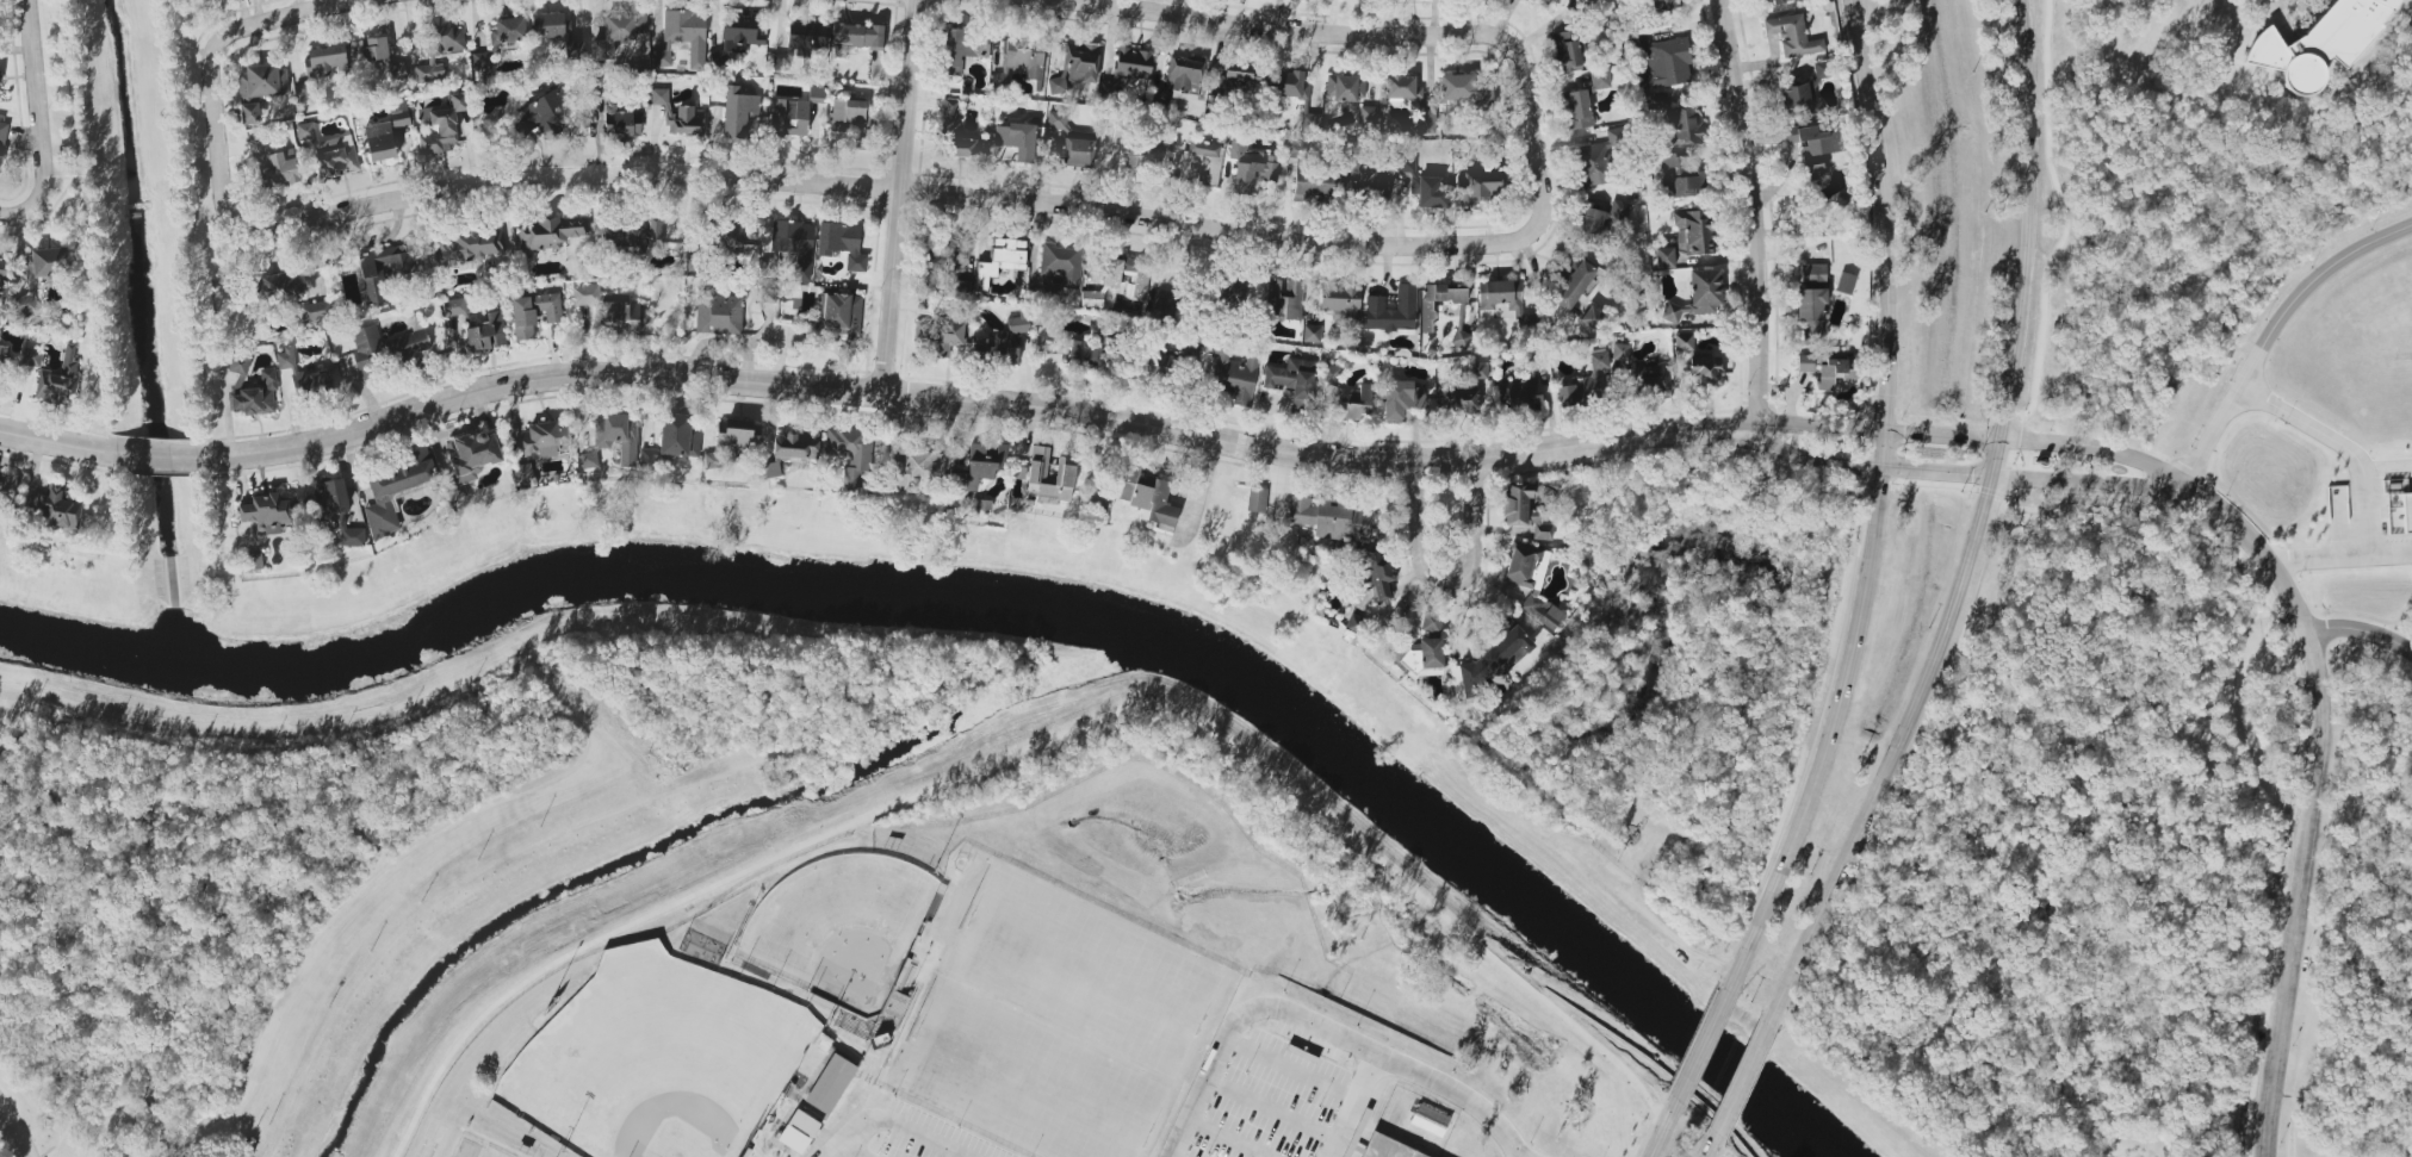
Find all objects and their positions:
building: (547, 25)
road: (1263, 25)
road: (238, 29)
building: (619, 32)
building: (736, 35)
building: (858, 36)
building: (1792, 36)
building: (683, 37)
building: (805, 38)
road: (190, 43)
building: (2320, 43)
building: (963, 48)
building: (370, 49)
building: (573, 49)
building: (439, 51)
building: (1565, 51)
building: (325, 60)
building: (1019, 60)
building: (482, 61)
building: (1661, 61)
building: (1134, 63)
road: (32, 66)
building: (1075, 68)
building: (1821, 69)
building: (397, 70)
building: (1178, 79)
building: (1600, 79)
building: (1242, 81)
road: (67, 85)
building: (1289, 85)
building: (1345, 87)
building: (1401, 87)
building: (260, 89)
building: (1468, 92)
building: (816, 94)
building: (1800, 94)
building: (659, 97)
building: (1577, 108)
building: (738, 111)
building: (541, 113)
building: (399, 114)
building: (949, 114)
building: (1368, 114)
building: (850, 117)
building: (787, 118)
building: (1056, 120)
building: (1426, 120)
building: (686, 122)
building: (1310, 122)
building: (620, 123)
building: (1685, 125)
building: (441, 126)
building: (304, 131)
building: (1017, 139)
building: (379, 142)
building: (957, 147)
building: (1812, 148)
building: (1297, 150)
building: (1078, 151)
building: (1143, 157)
building: (337, 161)
building: (1202, 163)
building: (1595, 163)
building: (273, 164)
building: (1251, 167)
building: (1681, 176)
building: (1371, 180)
road: (57, 183)
building: (1312, 183)
building: (1422, 183)
road: (39, 187)
building: (1477, 187)
road: (900, 195)
road: (950, 195)
road: (1286, 200)
road: (1755, 214)
road: (2026, 219)
building: (1589, 225)
road: (184, 229)
building: (548, 232)
building: (635, 237)
building: (1687, 237)
building: (694, 242)
building: (842, 243)
building: (794, 244)
building: (471, 245)
building: (1002, 259)
building: (771, 265)
building: (943, 266)
building: (2, 269)
building: (39, 274)
building: (1111, 278)
building: (1573, 281)
building: (1844, 284)
building: (280, 287)
building: (1233, 288)
building: (374, 291)
building: (1811, 292)
building: (1698, 296)
building: (1282, 298)
building: (1091, 299)
building: (1339, 299)
building: (1437, 301)
building: (1166, 303)
building: (1486, 306)
building: (455, 307)
road: (92, 310)
building: (1391, 310)
building: (314, 311)
building: (613, 311)
building: (533, 313)
building: (718, 315)
building: (842, 316)
building: (1593, 318)
building: (1018, 323)
road: (2268, 324)
building: (486, 332)
building: (1312, 332)
building: (940, 336)
building: (1684, 342)
building: (1620, 352)
building: (2, 355)
building: (1085, 355)
building: (31, 357)
building: (1809, 361)
building: (1158, 365)
building: (238, 368)
building: (1478, 371)
building: (1233, 372)
building: (1705, 372)
building: (1834, 372)
building: (1650, 379)
building: (61, 380)
building: (1292, 380)
building: (1587, 380)
building: (1519, 396)
building: (258, 397)
building: (1346, 397)
building: (1402, 398)
road: (976, 399)
building: (1458, 400)
road: (1877, 429)
building: (742, 433)
building: (678, 437)
building: (613, 438)
building: (545, 440)
road: (57, 442)
building: (798, 444)
road: (2098, 450)
building: (849, 452)
building: (649, 456)
road: (1995, 456)
road: (160, 458)
building: (470, 459)
road: (1815, 460)
building: (917, 467)
building: (979, 467)
building: (771, 469)
road: (1936, 472)
building: (1050, 475)
road: (2090, 478)
road: (2357, 478)
building: (7, 487)
building: (396, 490)
building: (323, 496)
building: (1147, 496)
building: (1257, 499)
road: (1877, 506)
building: (57, 509)
building: (2405, 509)
building: (1524, 510)
building: (267, 512)
building: (1332, 518)
building: (353, 536)
road: (2259, 550)
building: (254, 561)
road: (1445, 564)
building: (1374, 571)
building: (1531, 581)
building: (1430, 621)
building: (1356, 623)
road: (2361, 632)
building: (1431, 655)
building: (1489, 663)
road: (1034, 746)
road: (1892, 754)
road: (568, 769)
river: (699, 828)
river: (1432, 828)
road: (2299, 895)
road: (1236, 1019)
road: (1701, 1044)
park: (657, 1060)
road: (1290, 1069)
building: (924, 1074)
road: (1742, 1078)
building: (831, 1086)
road: (1451, 1099)
road: (26, 1102)
road: (1350, 1108)
road: (1271, 1109)
road: (893, 1119)
building: (1428, 1120)
road: (1651, 1127)
road: (1662, 1127)
building: (799, 1131)
road: (13, 1134)
road: (1227, 1138)
stadium: (453, 1142)
road: (1711, 1145)
road: (49, 1147)
building: (1388, 1149)
building: (749, 1153)

